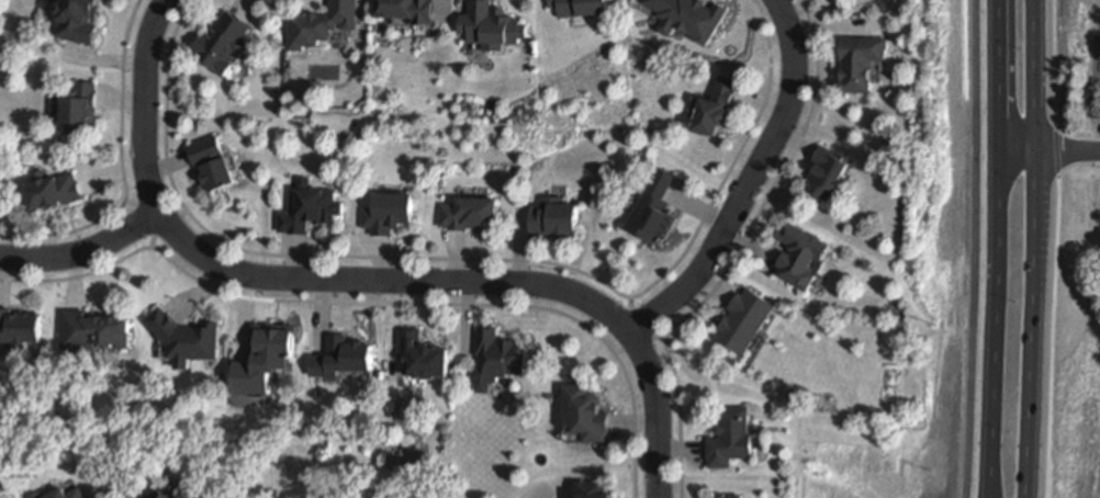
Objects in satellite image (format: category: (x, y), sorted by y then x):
building: (580, 7)
building: (407, 10)
building: (689, 16)
building: (77, 20)
building: (323, 23)
building: (490, 25)
building: (222, 41)
building: (858, 60)
road: (1034, 76)
building: (715, 106)
building: (78, 107)
road: (1048, 152)
building: (212, 161)
road: (142, 163)
road: (116, 165)
building: (824, 172)
road: (747, 181)
building: (53, 189)
building: (310, 206)
road: (996, 206)
building: (652, 208)
building: (389, 212)
building: (469, 212)
road: (138, 215)
building: (552, 216)
road: (167, 224)
road: (149, 242)
road: (1057, 248)
road: (83, 249)
road: (974, 249)
road: (732, 253)
building: (798, 253)
road: (465, 260)
road: (531, 283)
road: (375, 303)
road: (633, 318)
building: (742, 319)
road: (1030, 325)
building: (20, 327)
building: (93, 332)
building: (187, 337)
road: (638, 341)
building: (423, 353)
road: (614, 353)
building: (343, 356)
building: (498, 356)
building: (267, 358)
building: (584, 412)
building: (730, 435)
road: (989, 455)
building: (593, 489)
building: (70, 494)
building: (159, 494)
building: (37, 495)
building: (728, 496)

